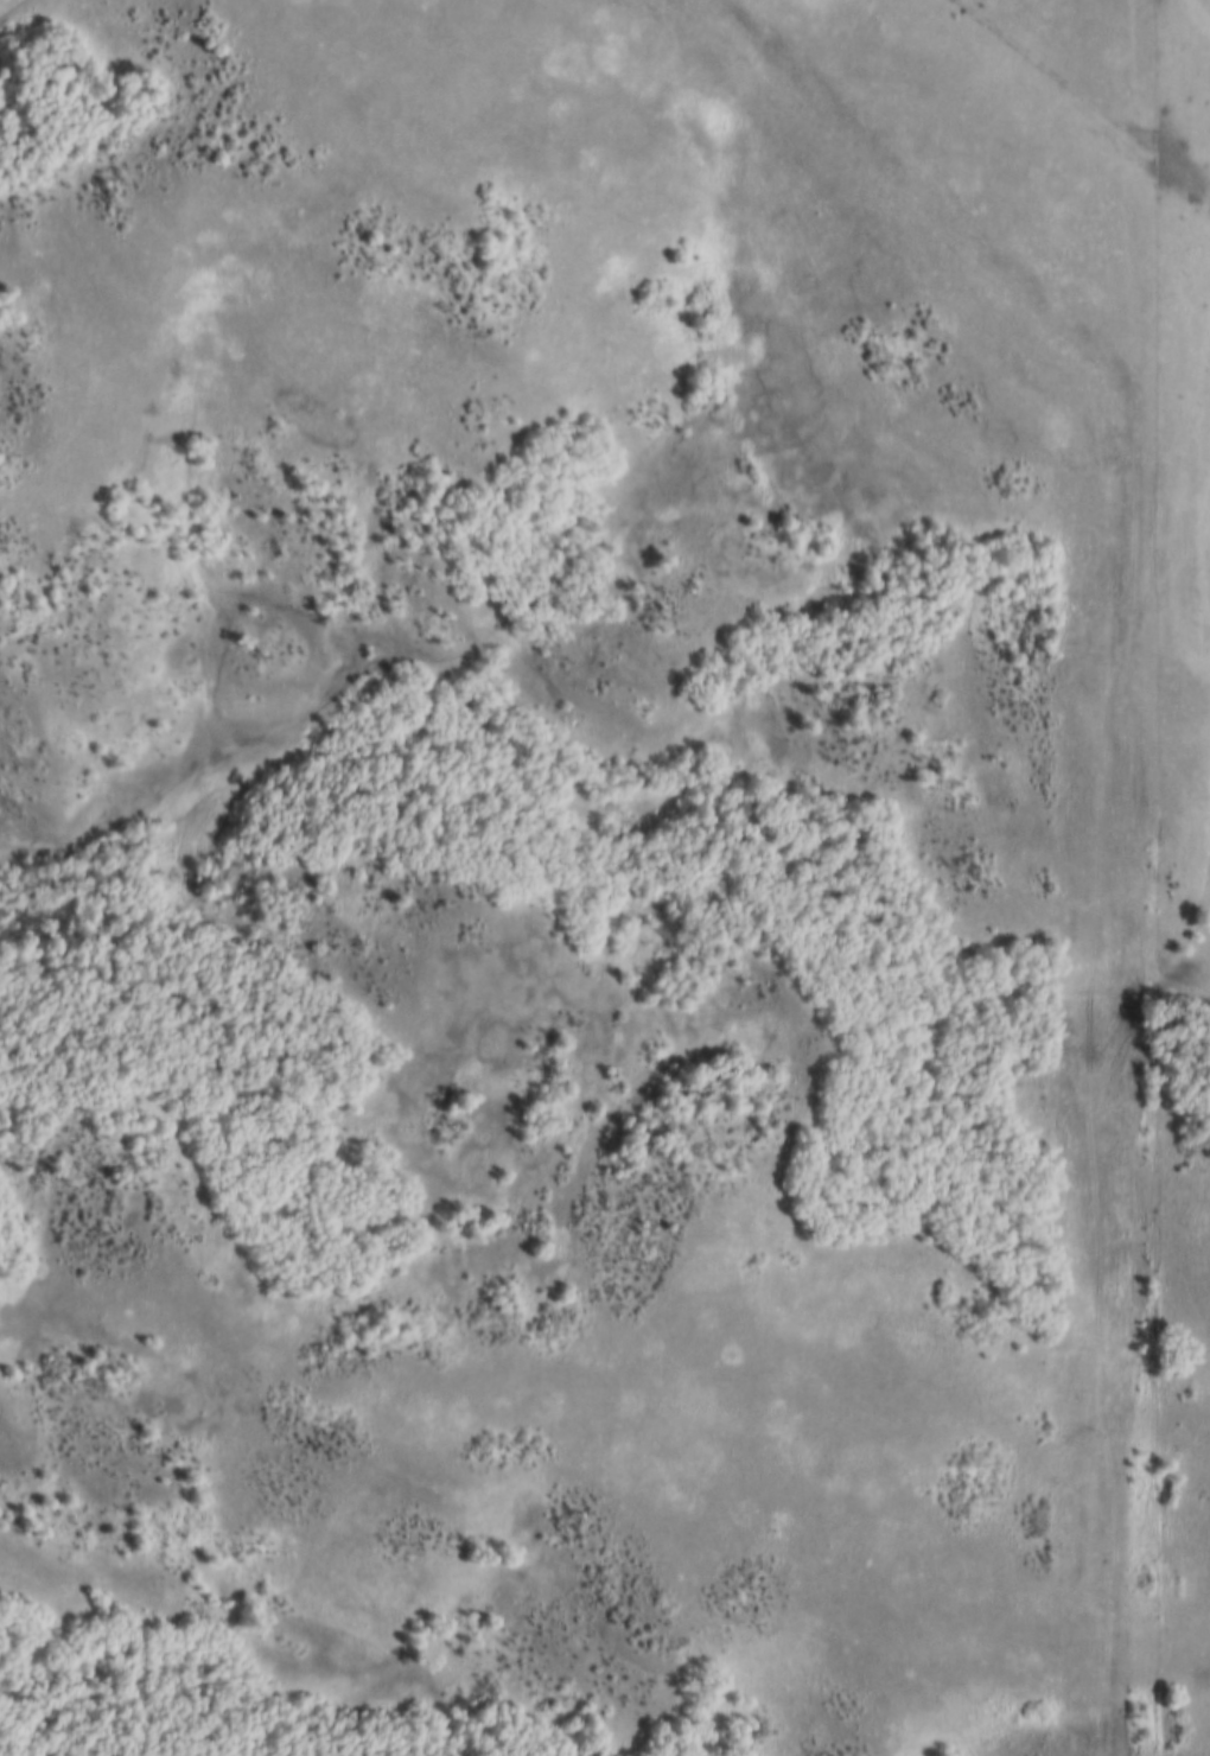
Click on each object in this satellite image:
road: (1087, 100)

